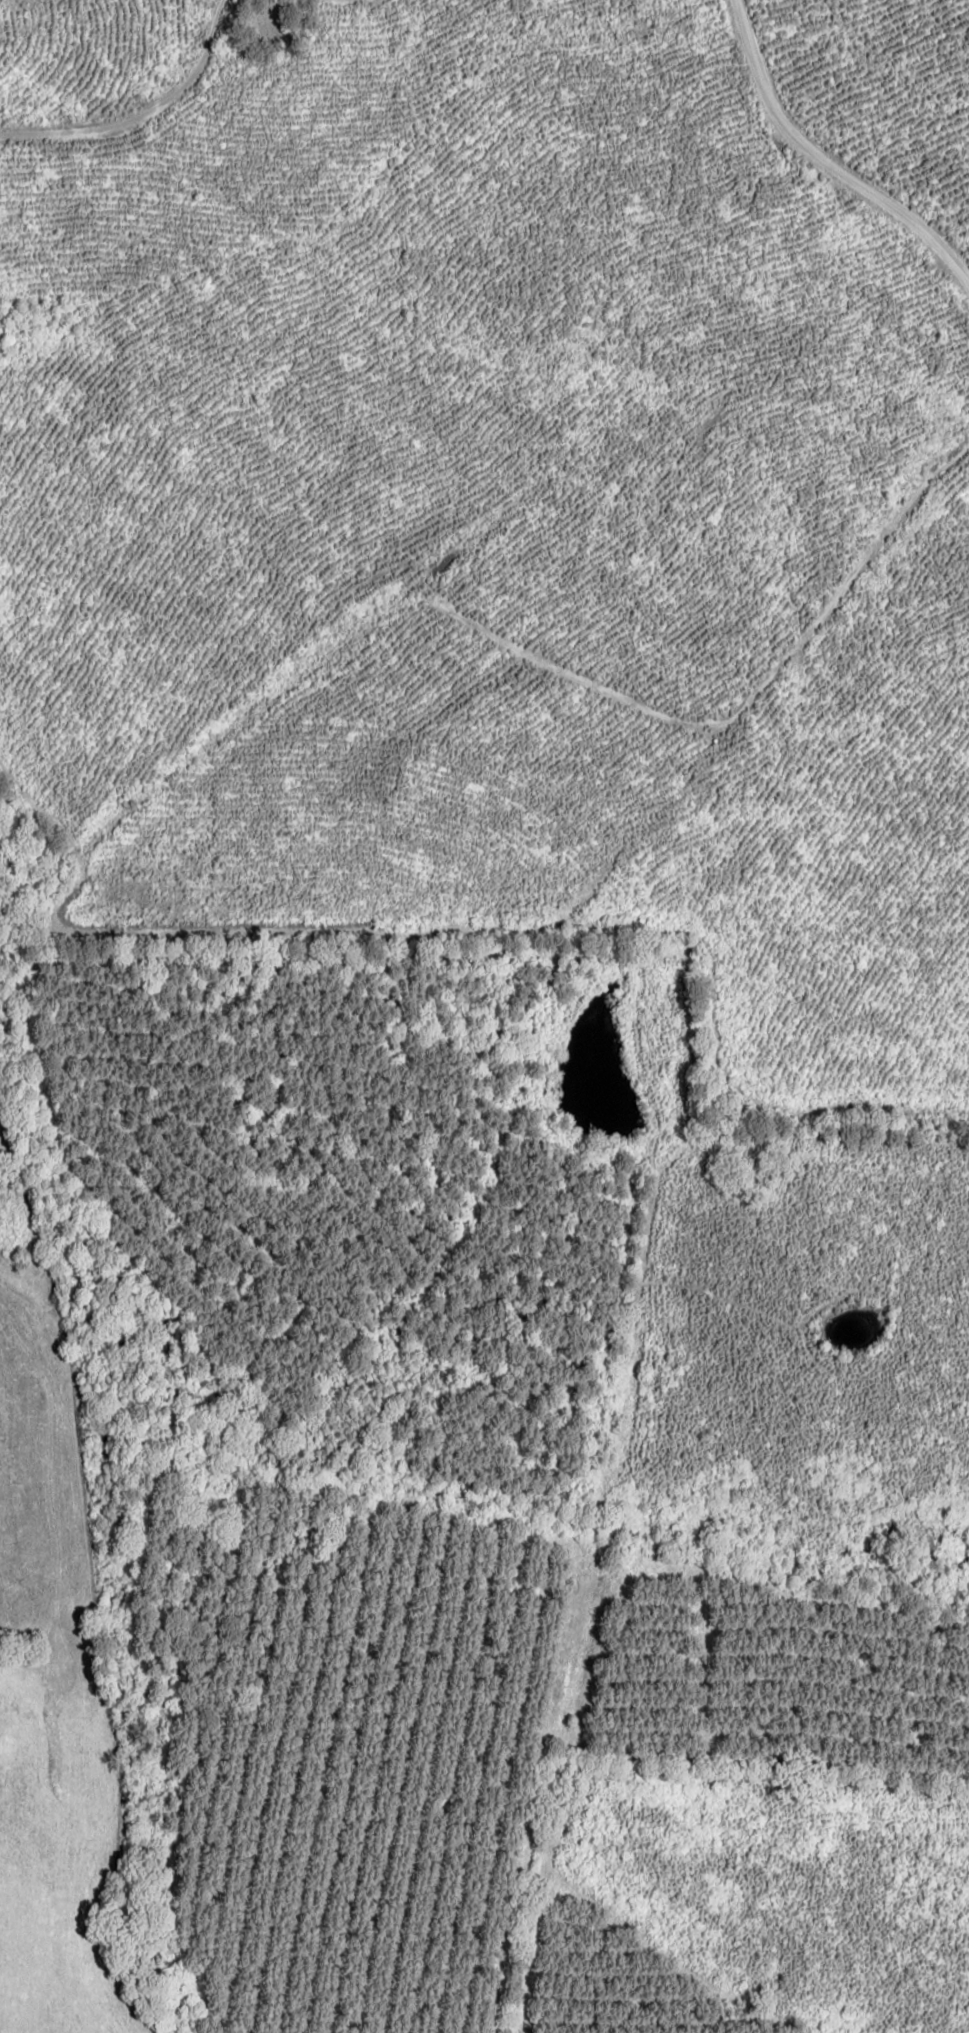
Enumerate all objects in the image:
road: (829, 162)
road: (640, 187)

